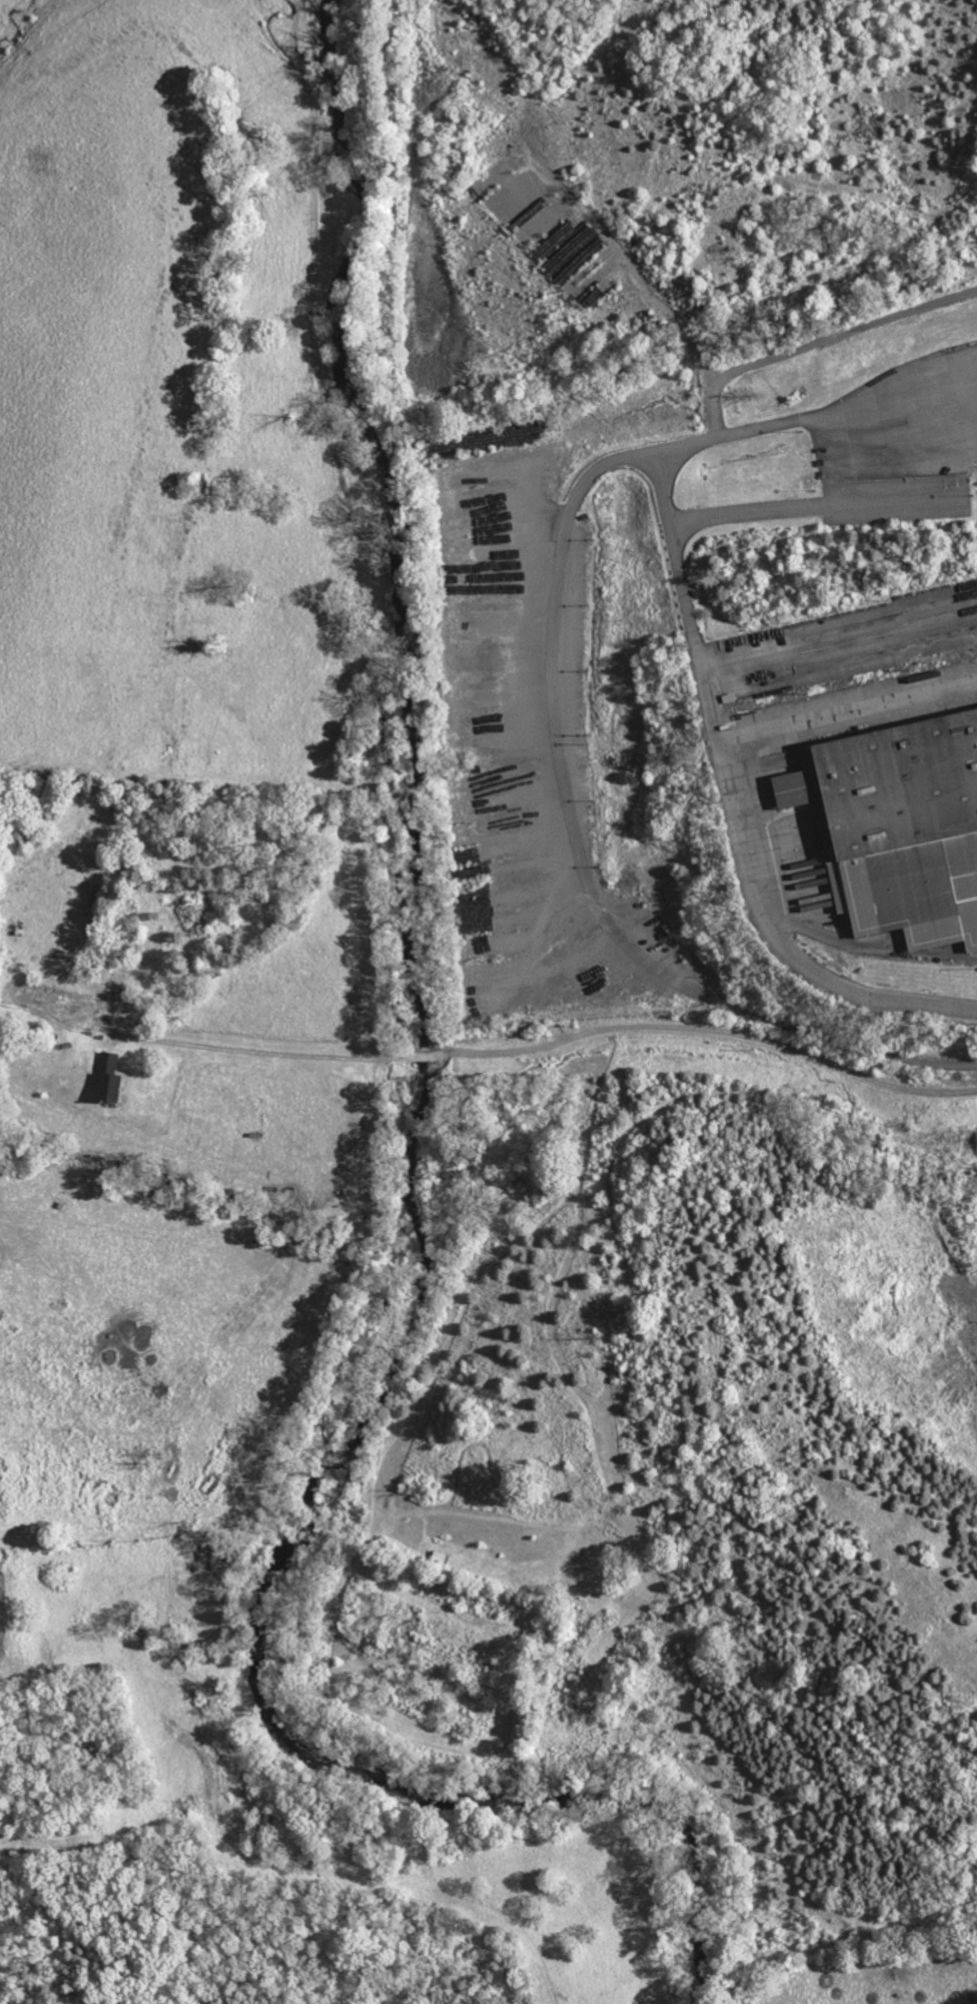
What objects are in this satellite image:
road: (722, 737)
building: (897, 831)
road: (781, 1019)
road: (557, 1041)
building: (109, 1078)

